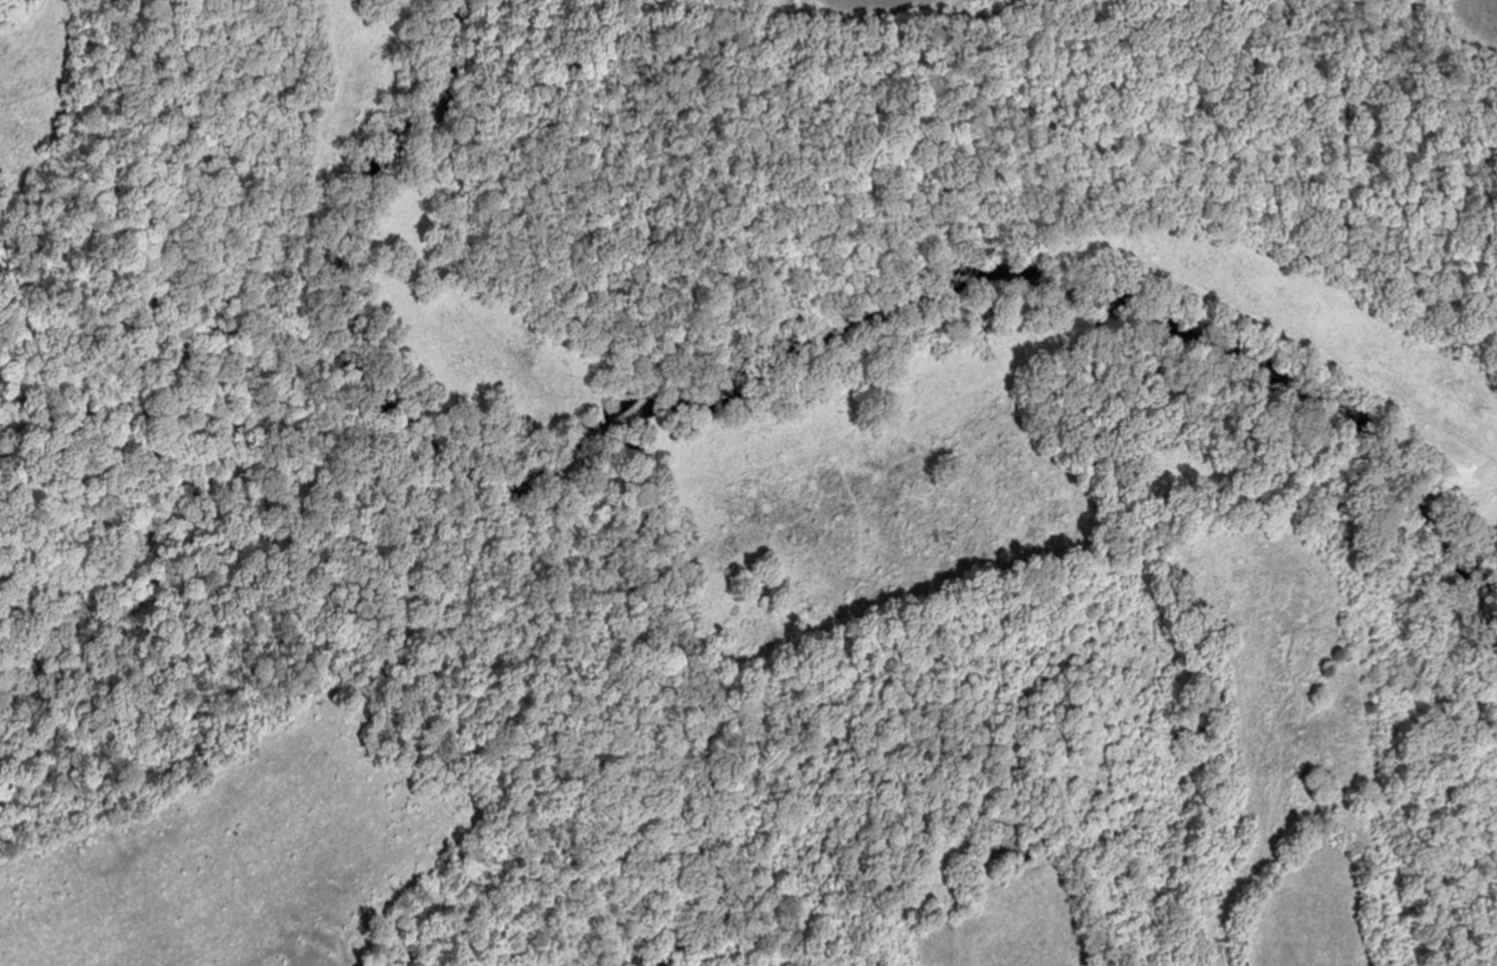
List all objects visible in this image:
building: (1013, 848)

